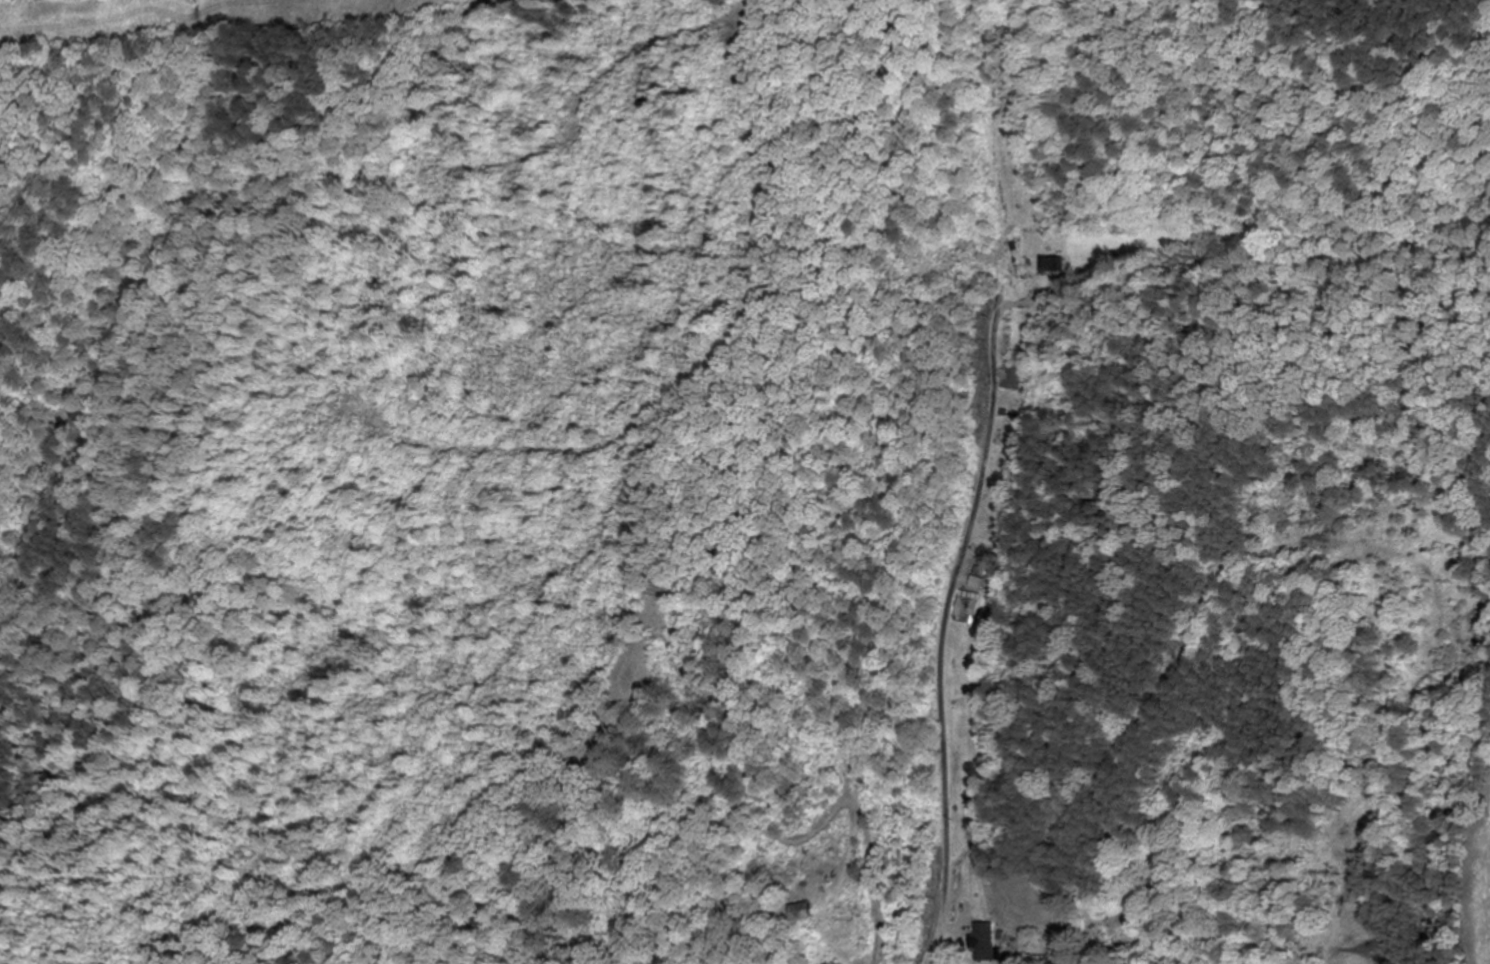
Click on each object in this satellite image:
building: (1050, 264)
building: (967, 609)
road: (943, 628)
building: (806, 911)
building: (985, 942)

